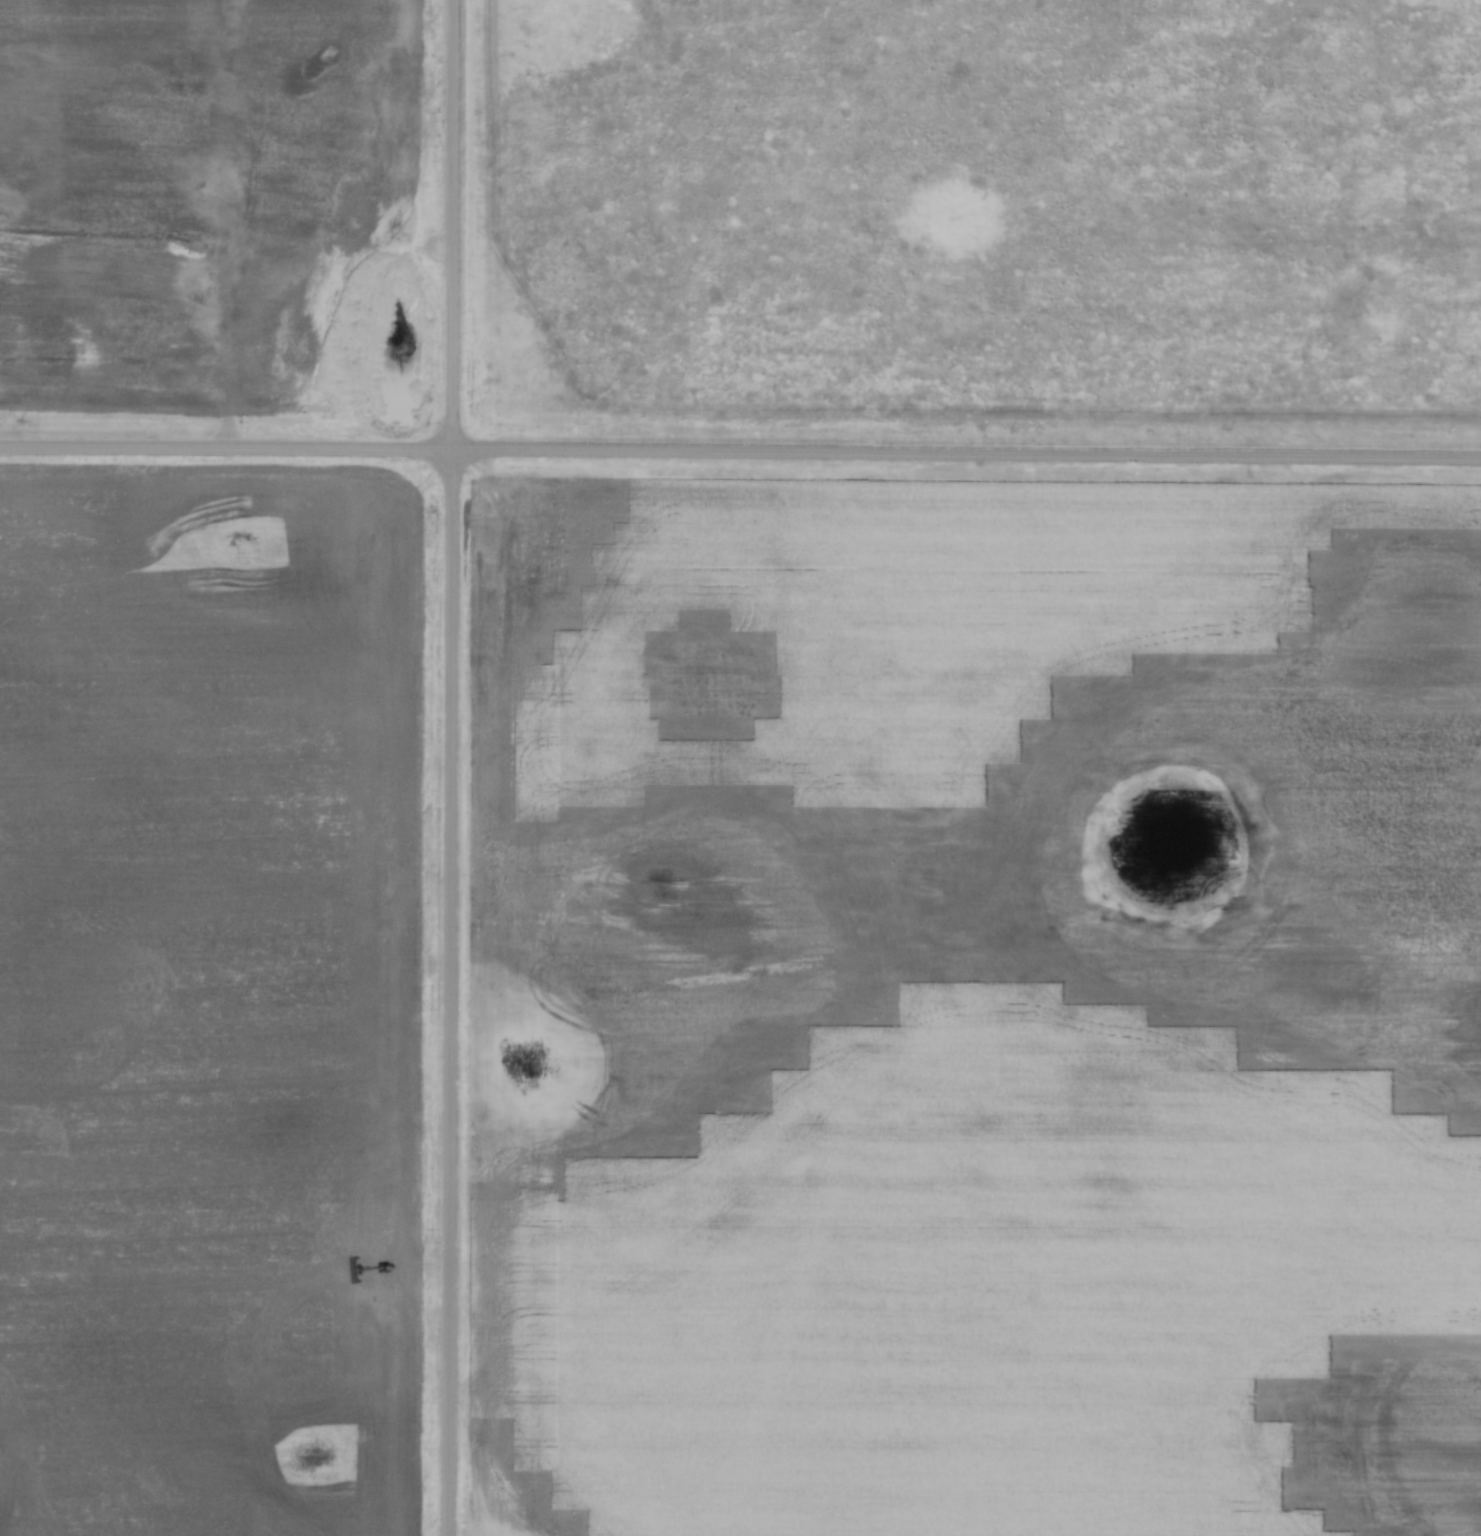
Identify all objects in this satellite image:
road: (740, 455)
road: (449, 768)

